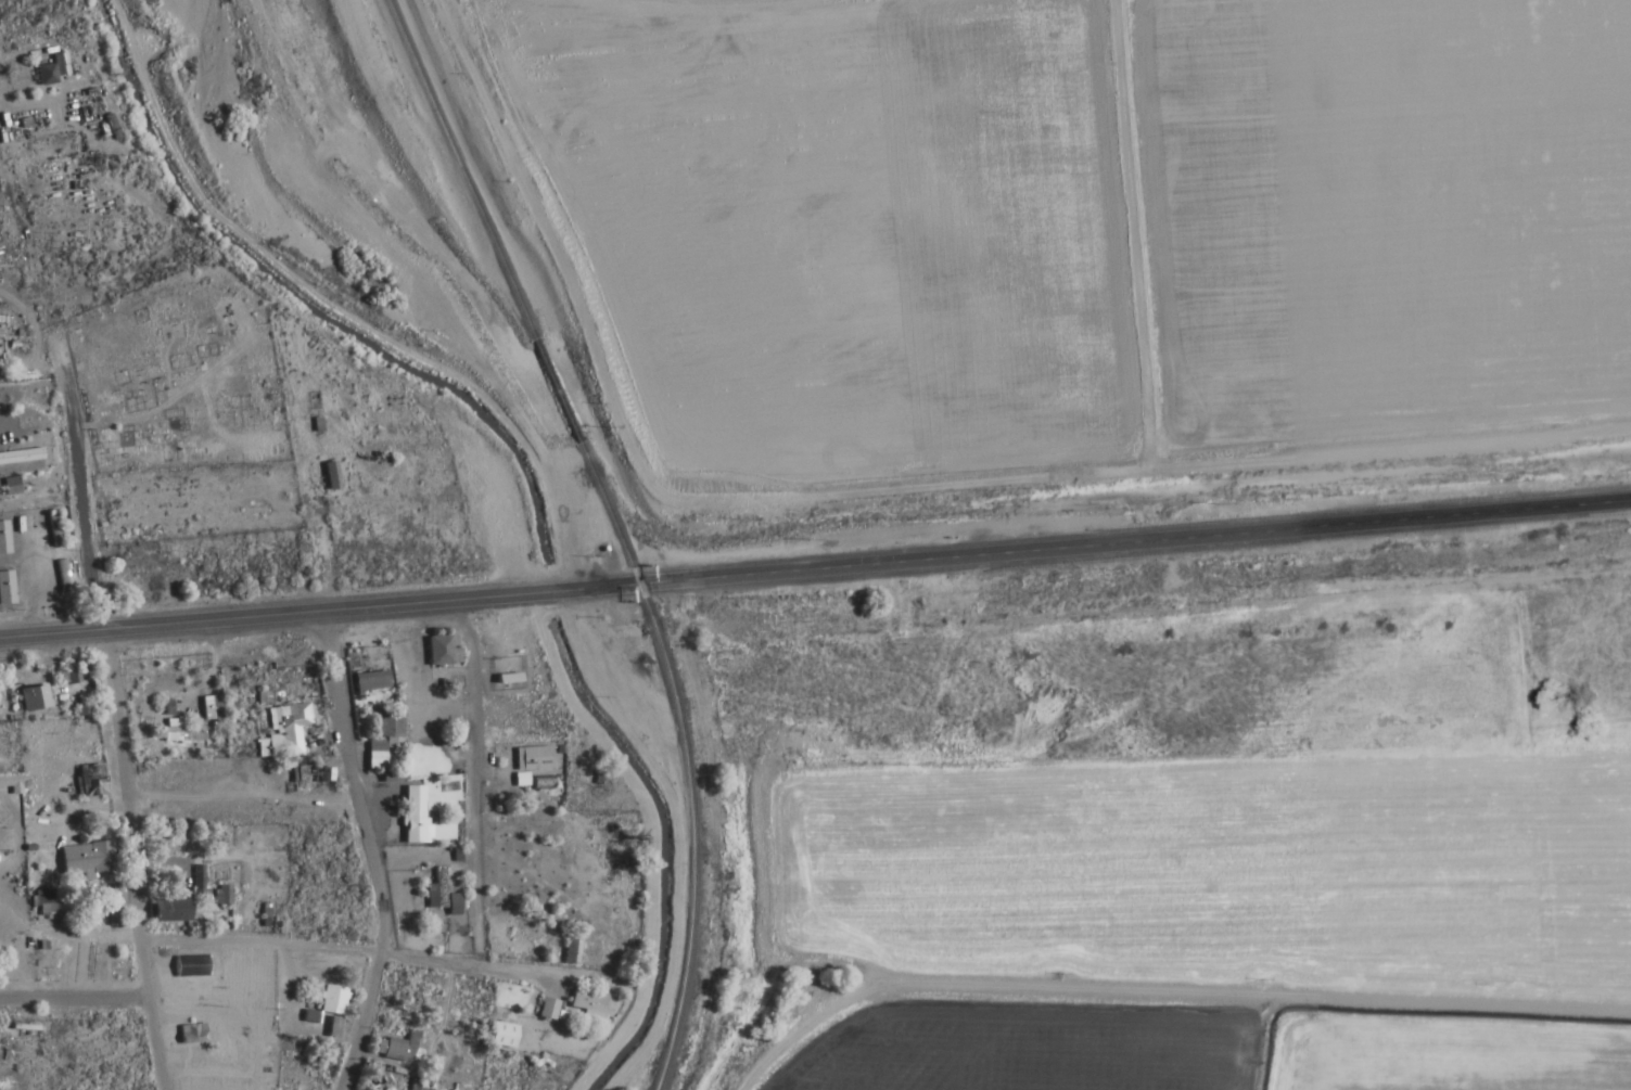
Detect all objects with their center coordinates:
building: (49, 70)
railway: (428, 103)
railway: (494, 256)
park: (176, 376)
building: (18, 457)
building: (329, 476)
building: (9, 487)
building: (53, 530)
building: (2, 539)
road: (815, 569)
building: (61, 577)
building: (5, 589)
building: (441, 653)
building: (66, 676)
building: (507, 679)
building: (368, 681)
railway: (668, 685)
building: (31, 698)
building: (208, 708)
building: (82, 710)
road: (113, 714)
building: (385, 728)
building: (283, 730)
building: (171, 735)
building: (373, 756)
building: (531, 768)
building: (305, 777)
building: (92, 781)
building: (10, 783)
road: (471, 783)
building: (412, 817)
road: (367, 852)
crop: (1188, 855)
building: (82, 858)
building: (220, 895)
building: (432, 896)
building: (42, 899)
building: (451, 905)
building: (167, 910)
building: (569, 952)
road: (377, 954)
building: (181, 984)
building: (329, 1000)
road: (73, 1001)
building: (585, 1003)
building: (545, 1009)
building: (500, 1035)
building: (397, 1048)

